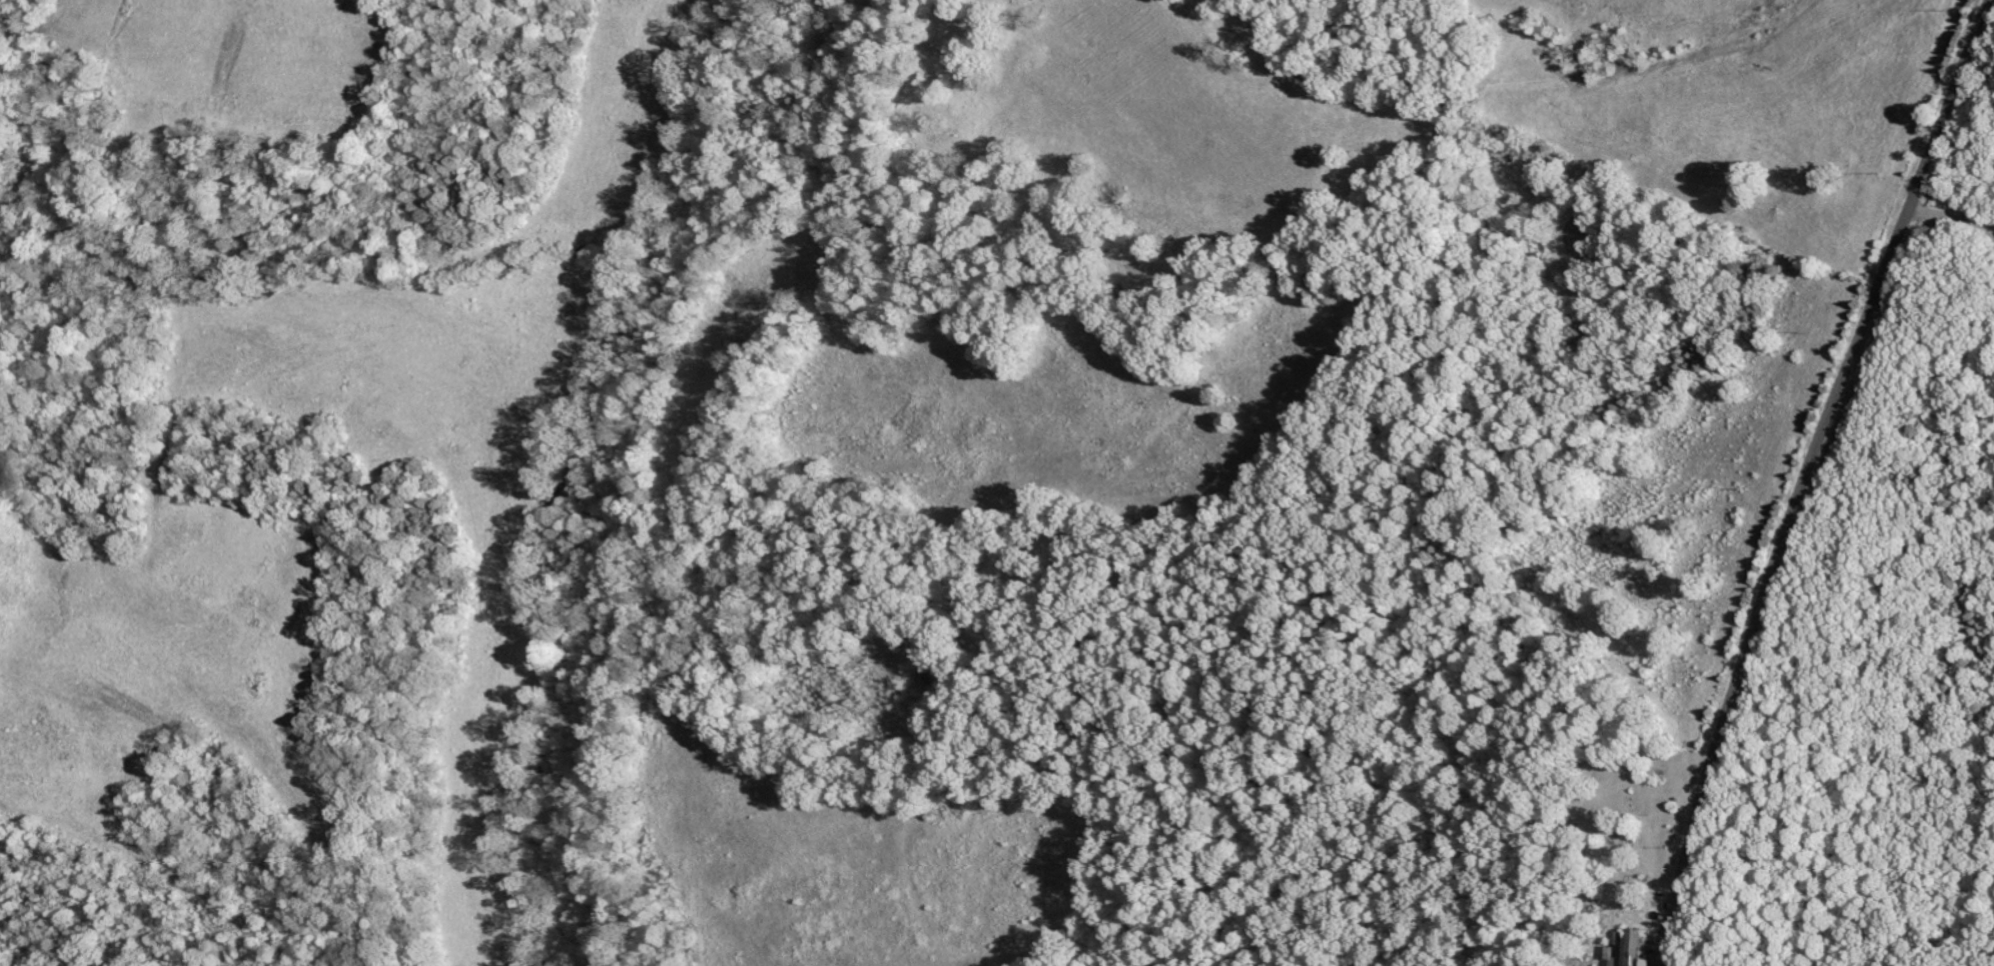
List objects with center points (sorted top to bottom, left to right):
road: (1807, 476)
building: (1620, 948)

